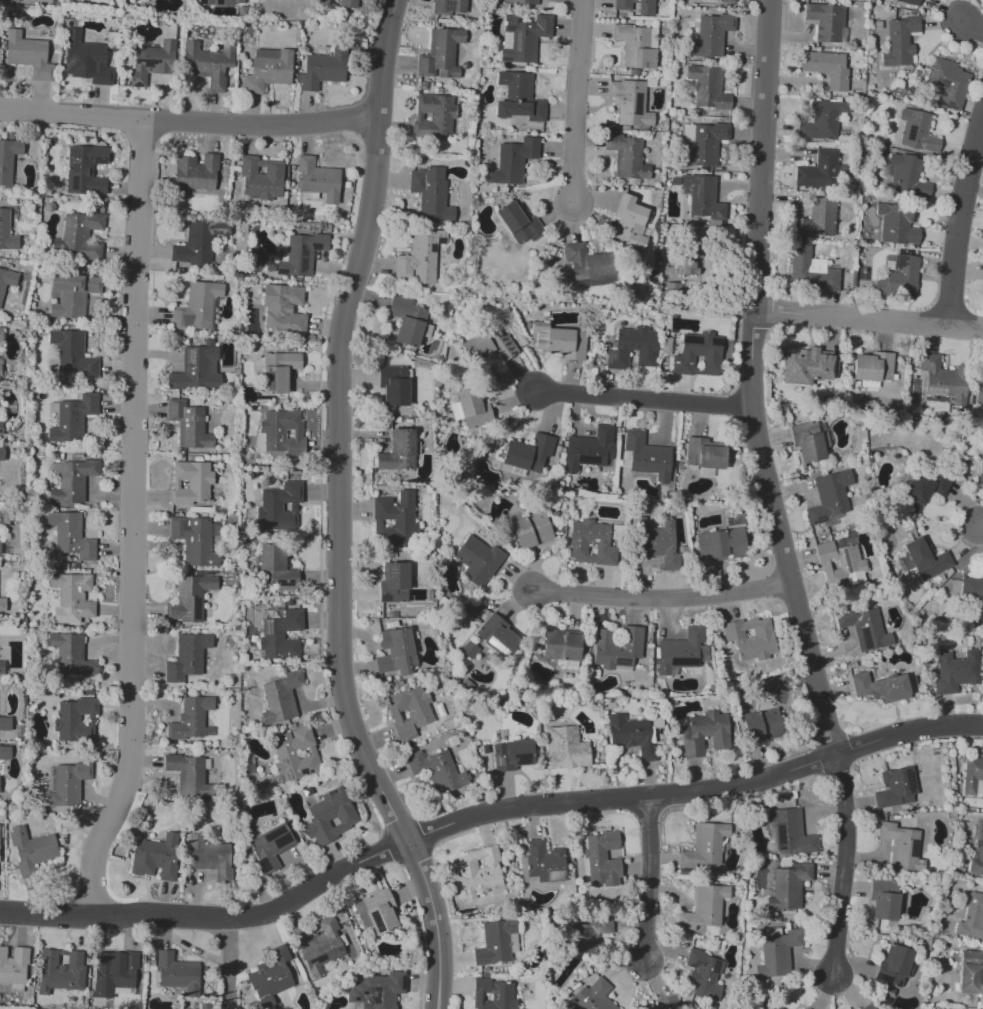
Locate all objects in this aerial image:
building: (137, 0)
building: (717, 0)
building: (289, 1)
building: (728, 1)
building: (219, 2)
building: (521, 2)
building: (905, 2)
building: (349, 3)
building: (450, 8)
building: (624, 8)
building: (825, 22)
road: (974, 26)
building: (711, 35)
building: (524, 38)
building: (900, 41)
building: (636, 47)
building: (440, 53)
building: (28, 55)
building: (154, 58)
building: (88, 59)
rooftop solar panel: (147, 63)
building: (209, 64)
building: (827, 68)
building: (322, 69)
building: (268, 70)
rooftop solar panel: (931, 72)
rooftop solar panel: (134, 76)
rooftop solar panel: (935, 81)
building: (945, 82)
rooftop solar panel: (941, 84)
rooftop solar panel: (950, 85)
rooftop solar panel: (137, 86)
building: (708, 88)
rooftop solar panel: (946, 95)
building: (518, 98)
rooftop solar panel: (636, 99)
road: (579, 103)
building: (628, 105)
rooftop solar panel: (949, 105)
building: (433, 115)
building: (824, 121)
road: (189, 123)
building: (914, 128)
building: (705, 145)
rooftop solar panel: (51, 154)
building: (627, 157)
building: (513, 160)
building: (8, 161)
building: (85, 170)
building: (819, 171)
building: (905, 172)
building: (196, 175)
building: (261, 181)
building: (319, 181)
rooftop solar panel: (73, 183)
building: (431, 193)
building: (699, 197)
building: (890, 209)
building: (816, 219)
building: (519, 223)
building: (628, 223)
building: (6, 231)
road: (966, 232)
building: (82, 236)
building: (200, 241)
building: (799, 251)
rooftop solar panel: (304, 252)
building: (301, 255)
building: (679, 255)
building: (419, 257)
building: (586, 263)
rooftop solar panel: (304, 266)
building: (907, 276)
building: (825, 281)
building: (6, 282)
building: (71, 295)
building: (196, 307)
building: (281, 307)
road: (872, 318)
building: (407, 320)
building: (2, 334)
rooftop solar panel: (693, 341)
building: (560, 342)
rooftop solar panel: (717, 344)
rooftop solar panel: (504, 345)
building: (494, 348)
building: (633, 348)
rooftop solar panel: (506, 350)
rooftop solar panel: (509, 352)
building: (698, 354)
building: (73, 355)
rooftop solar panel: (610, 355)
rooftop solar panel: (192, 356)
building: (1, 367)
building: (873, 367)
building: (806, 368)
rooftop solar panel: (188, 369)
building: (279, 370)
building: (195, 371)
building: (934, 374)
road: (754, 380)
rooftop solar panel: (271, 381)
building: (981, 387)
building: (396, 393)
road: (648, 401)
building: (472, 408)
building: (73, 418)
building: (191, 423)
building: (1, 428)
building: (279, 434)
building: (590, 449)
building: (809, 449)
building: (397, 450)
building: (528, 452)
building: (2, 454)
building: (705, 454)
building: (645, 457)
rooftop solar panel: (586, 461)
building: (980, 474)
building: (73, 481)
building: (191, 484)
building: (921, 489)
building: (830, 497)
building: (279, 506)
road: (338, 511)
building: (396, 519)
rooftop solar panel: (819, 520)
road: (131, 522)
road: (980, 525)
building: (530, 530)
building: (70, 536)
building: (194, 541)
building: (657, 542)
building: (722, 542)
building: (591, 543)
building: (1, 548)
rooftop solar panel: (843, 558)
building: (840, 560)
building: (921, 560)
building: (477, 561)
building: (275, 567)
rooftop solar panel: (387, 573)
building: (394, 583)
rooftop solar panel: (284, 586)
building: (971, 589)
building: (71, 596)
building: (187, 598)
rooftop solar panel: (382, 598)
road: (667, 599)
building: (3, 604)
rooftop solar panel: (196, 609)
rooftop solar panel: (269, 627)
building: (865, 628)
building: (496, 635)
building: (283, 636)
building: (749, 636)
rooftop solar panel: (865, 638)
rooftop solar panel: (493, 643)
building: (562, 648)
building: (617, 648)
building: (469, 650)
building: (683, 651)
building: (395, 653)
building: (187, 656)
building: (70, 658)
rooftop solar panel: (621, 662)
building: (3, 668)
building: (956, 670)
building: (880, 689)
building: (281, 698)
building: (409, 711)
building: (190, 719)
building: (76, 720)
building: (6, 723)
building: (761, 723)
building: (713, 730)
building: (631, 736)
building: (566, 748)
building: (692, 748)
building: (6, 754)
building: (295, 754)
building: (512, 756)
rooftop solar panel: (519, 757)
building: (415, 762)
building: (187, 768)
rooftop solar panel: (288, 768)
rooftop solar panel: (304, 771)
building: (444, 773)
building: (972, 778)
rooftop solar panel: (909, 779)
building: (68, 783)
building: (896, 788)
road: (484, 812)
building: (329, 817)
building: (790, 832)
rooftop solar panel: (271, 833)
rooftop solar panel: (279, 840)
building: (271, 846)
building: (901, 847)
building: (708, 848)
rooftop solar panel: (912, 848)
building: (34, 852)
building: (977, 853)
building: (208, 854)
building: (157, 857)
building: (601, 860)
building: (542, 861)
road: (843, 864)
building: (480, 870)
road: (648, 878)
building: (790, 886)
building: (885, 900)
building: (704, 908)
building: (380, 912)
building: (971, 916)
rooftop solar panel: (376, 921)
building: (593, 936)
building: (498, 943)
building: (323, 944)
rooftop solar panel: (337, 950)
building: (778, 952)
rooftop solar panel: (318, 959)
rooftop solar panel: (694, 963)
building: (14, 966)
building: (896, 966)
building: (61, 972)
building: (118, 972)
rooftop solar panel: (702, 972)
building: (177, 973)
building: (275, 973)
building: (970, 973)
building: (704, 975)
rooftop solar panel: (401, 982)
building: (376, 991)
rooftop solar panel: (364, 992)
building: (493, 994)
building: (594, 995)
rooftop solar panel: (377, 996)
rooftop solar panel: (355, 1000)
building: (668, 1003)
building: (867, 1006)
building: (775, 1007)
building: (779, 1007)
building: (805, 1008)
building: (808, 1008)

